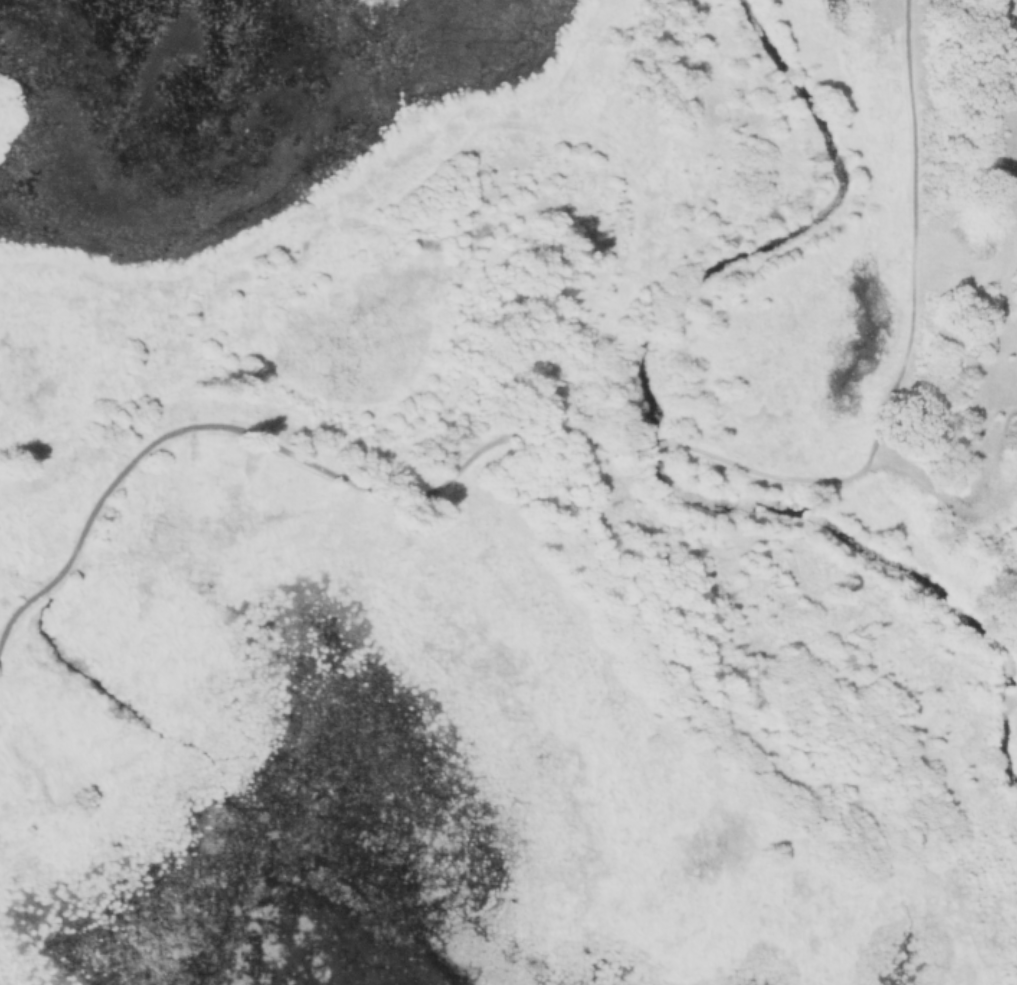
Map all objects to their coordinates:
road: (906, 338)
road: (656, 445)
road: (277, 446)

